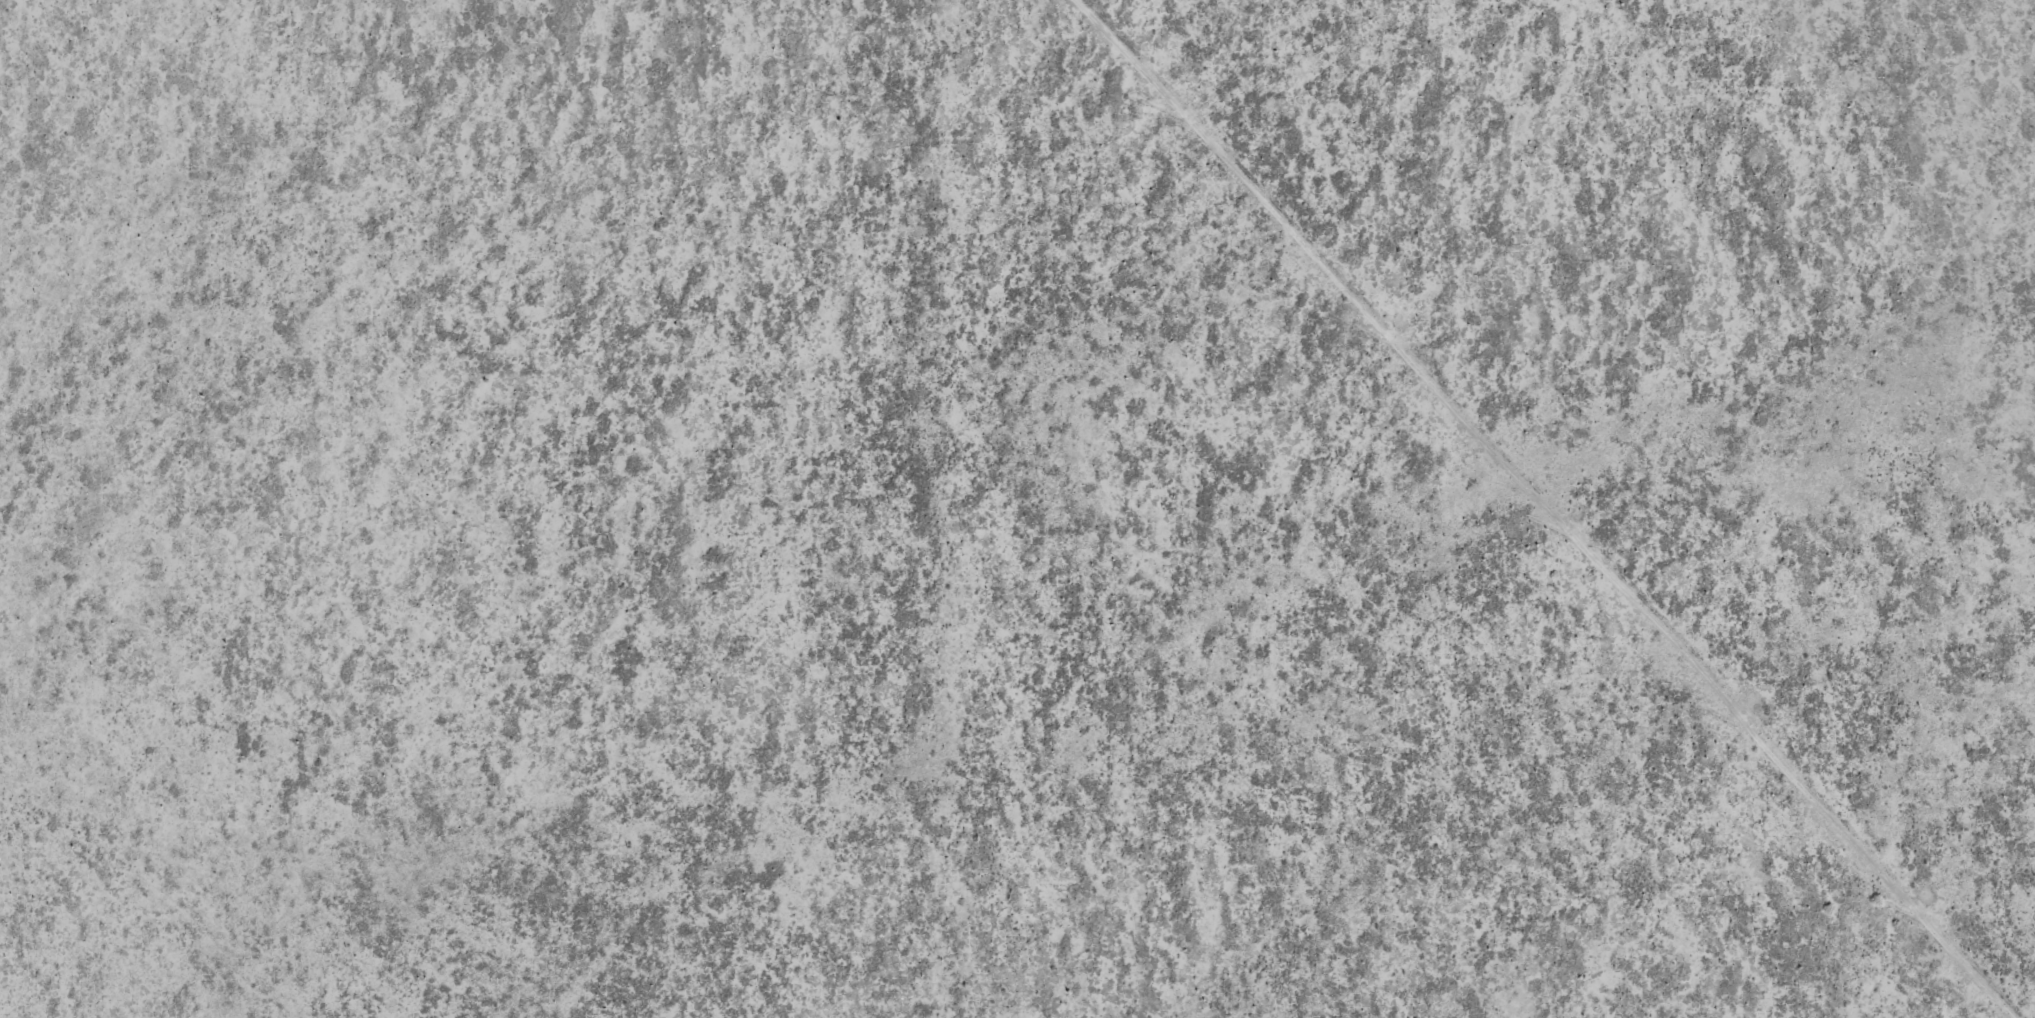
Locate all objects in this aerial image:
road: (1508, 509)

